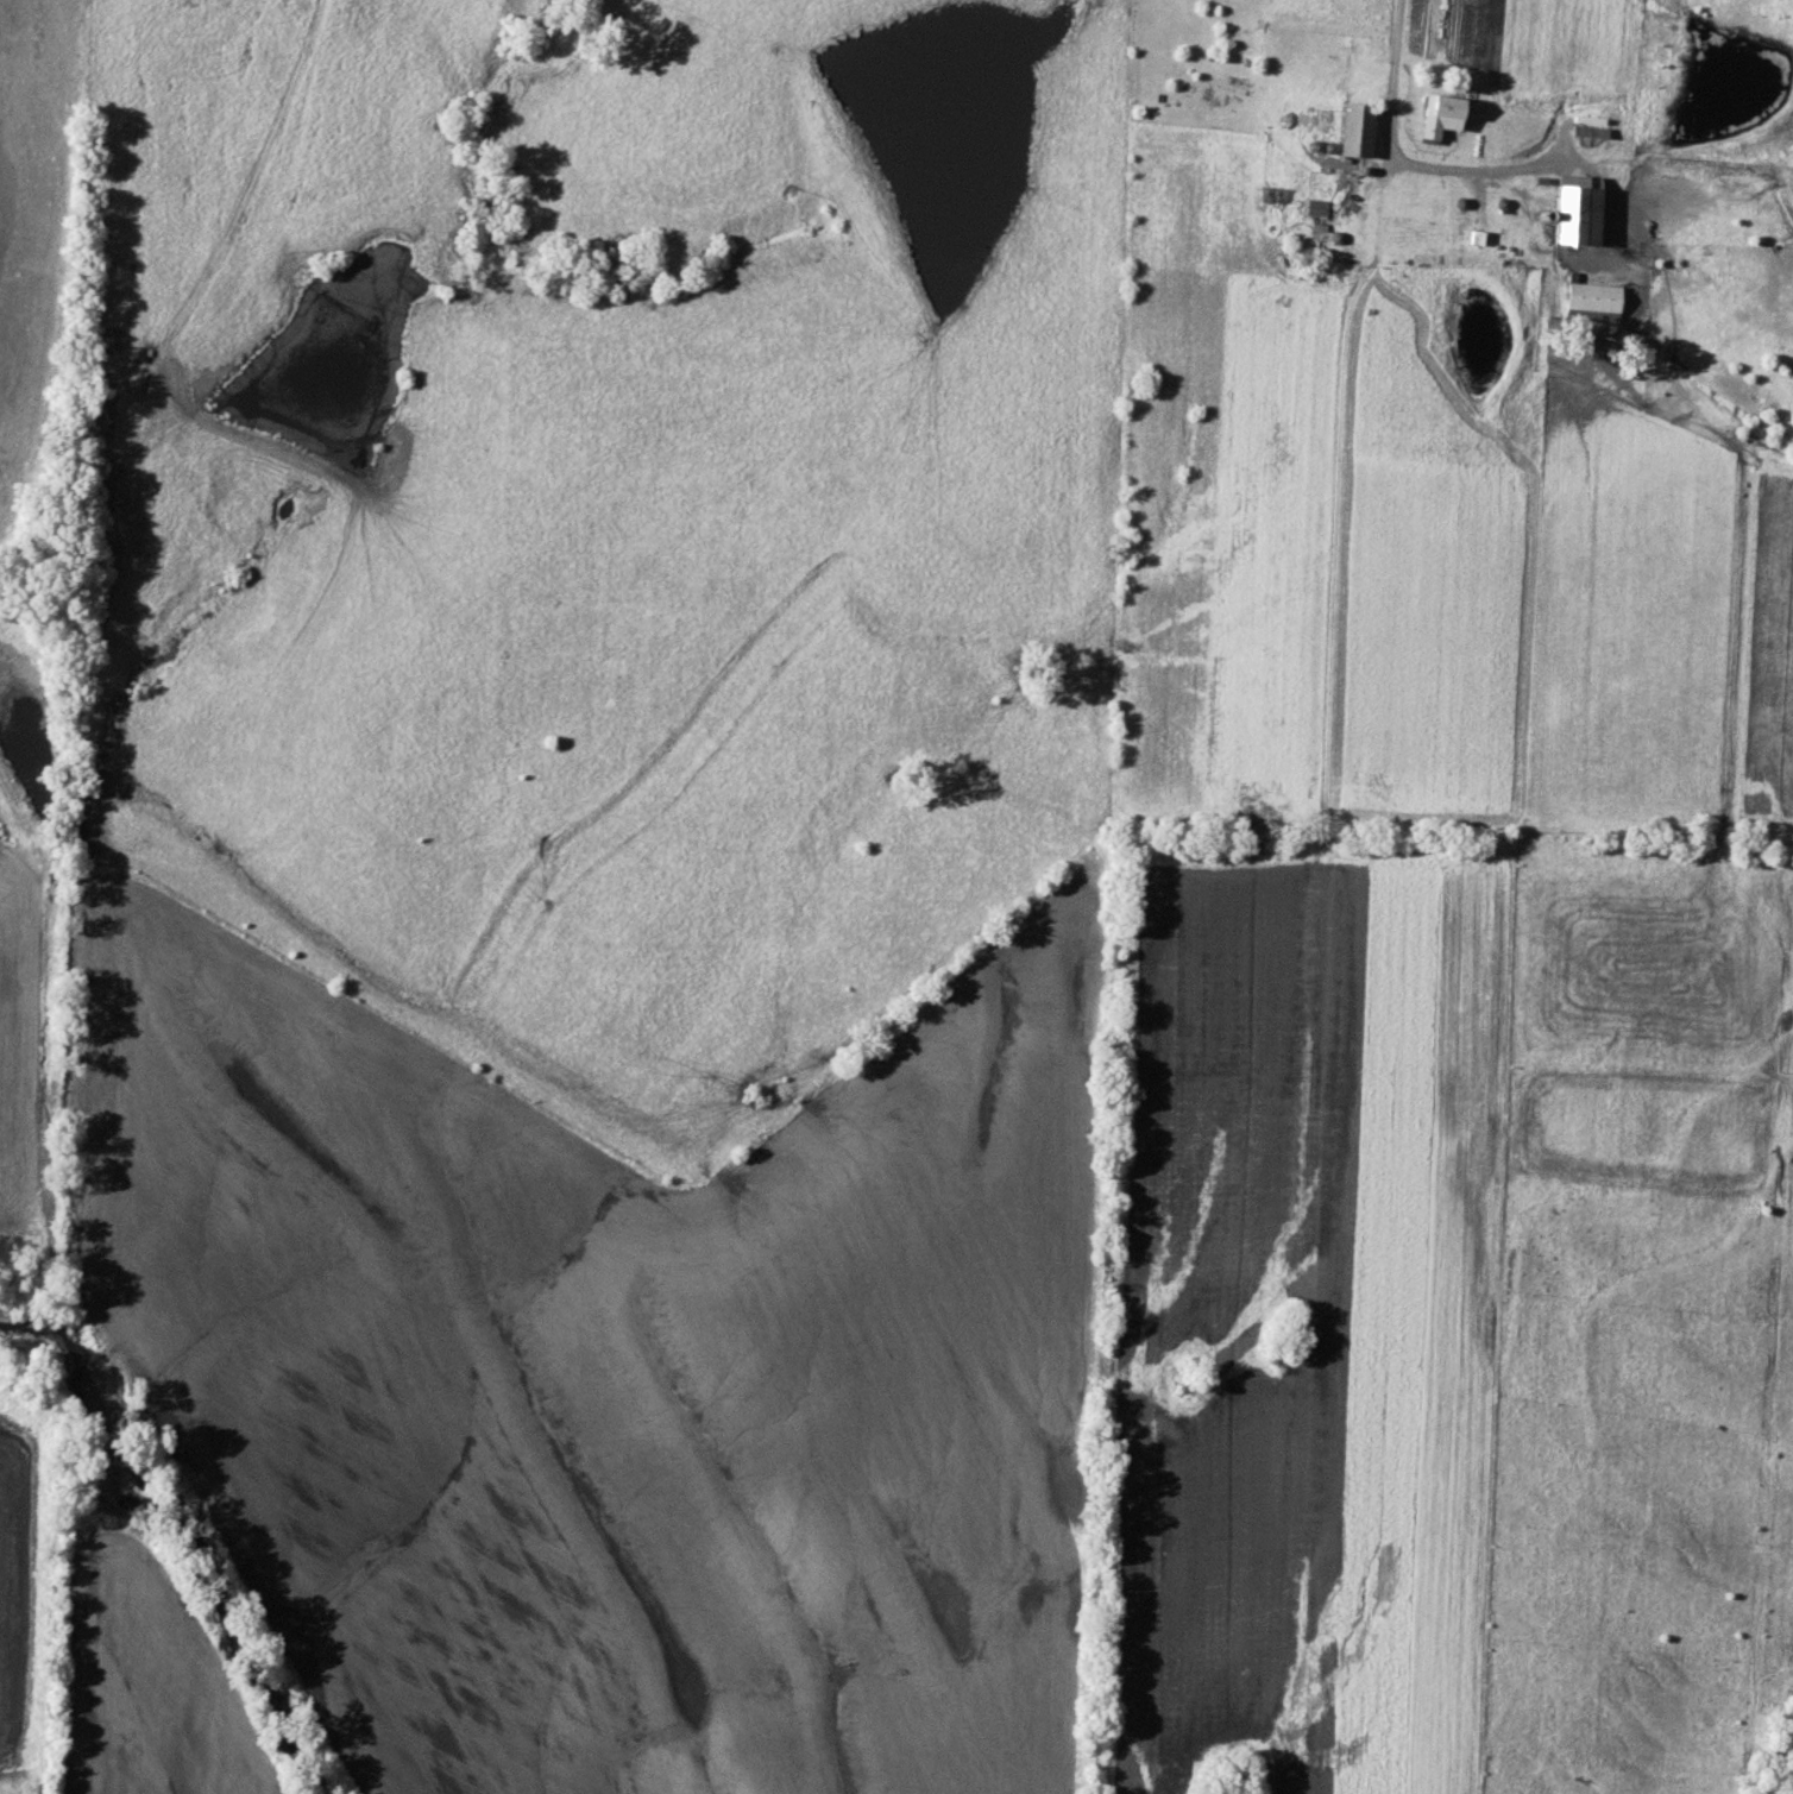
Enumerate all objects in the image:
building: (1452, 105)
building: (1358, 130)
building: (1316, 208)
building: (1583, 209)

